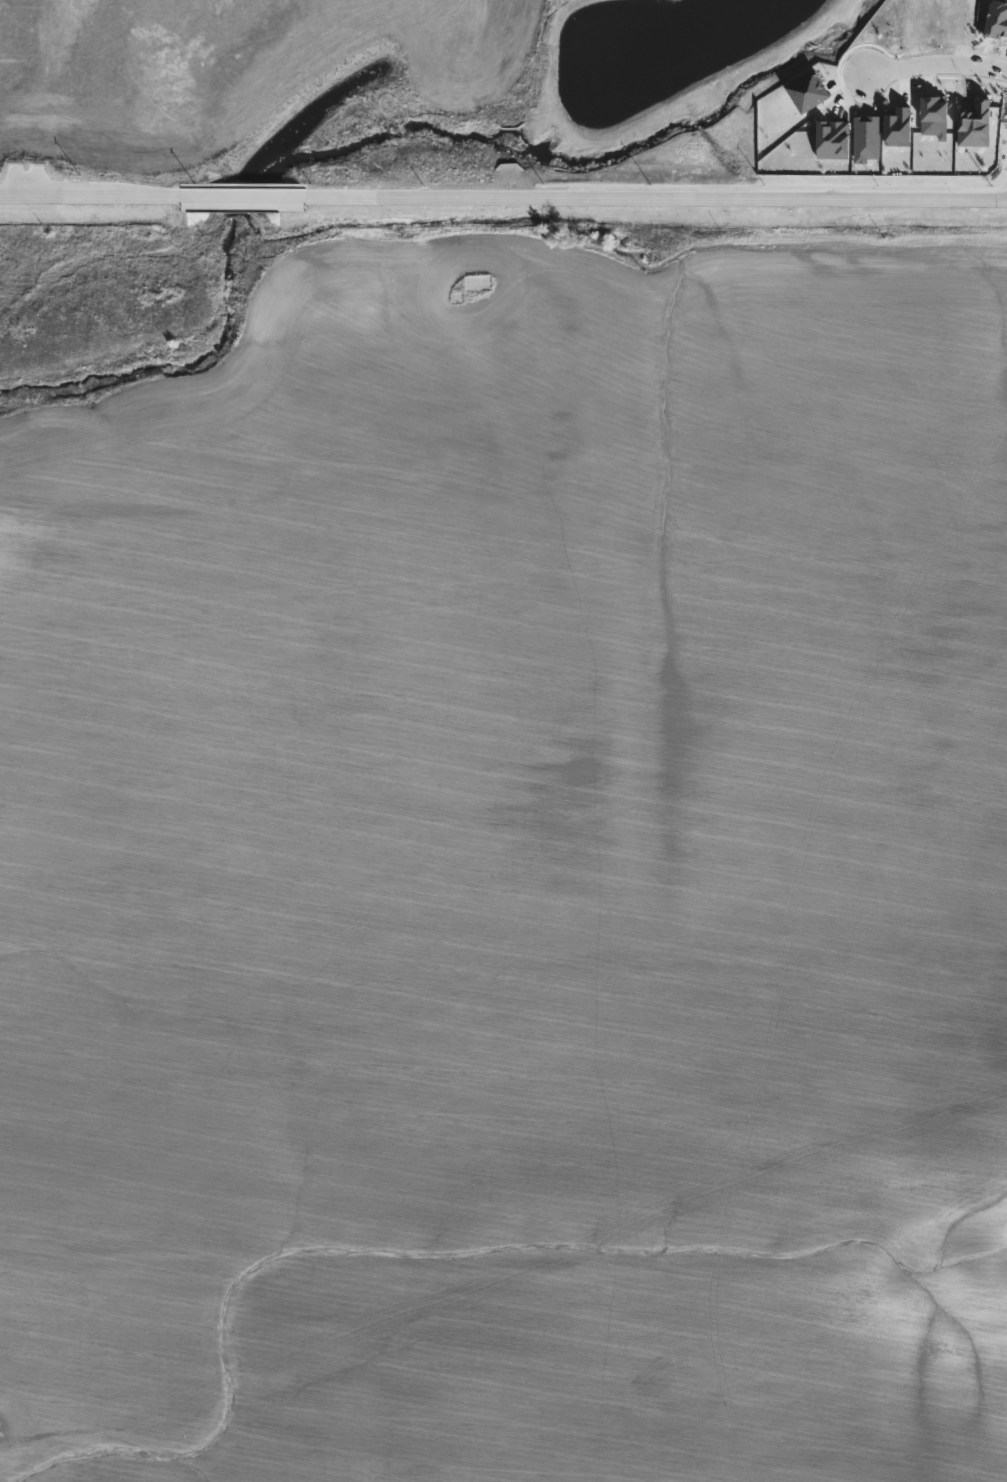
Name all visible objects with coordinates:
crop: (210, 64)
road: (935, 64)
road: (91, 196)
road: (244, 197)
road: (656, 198)
crop: (515, 867)

